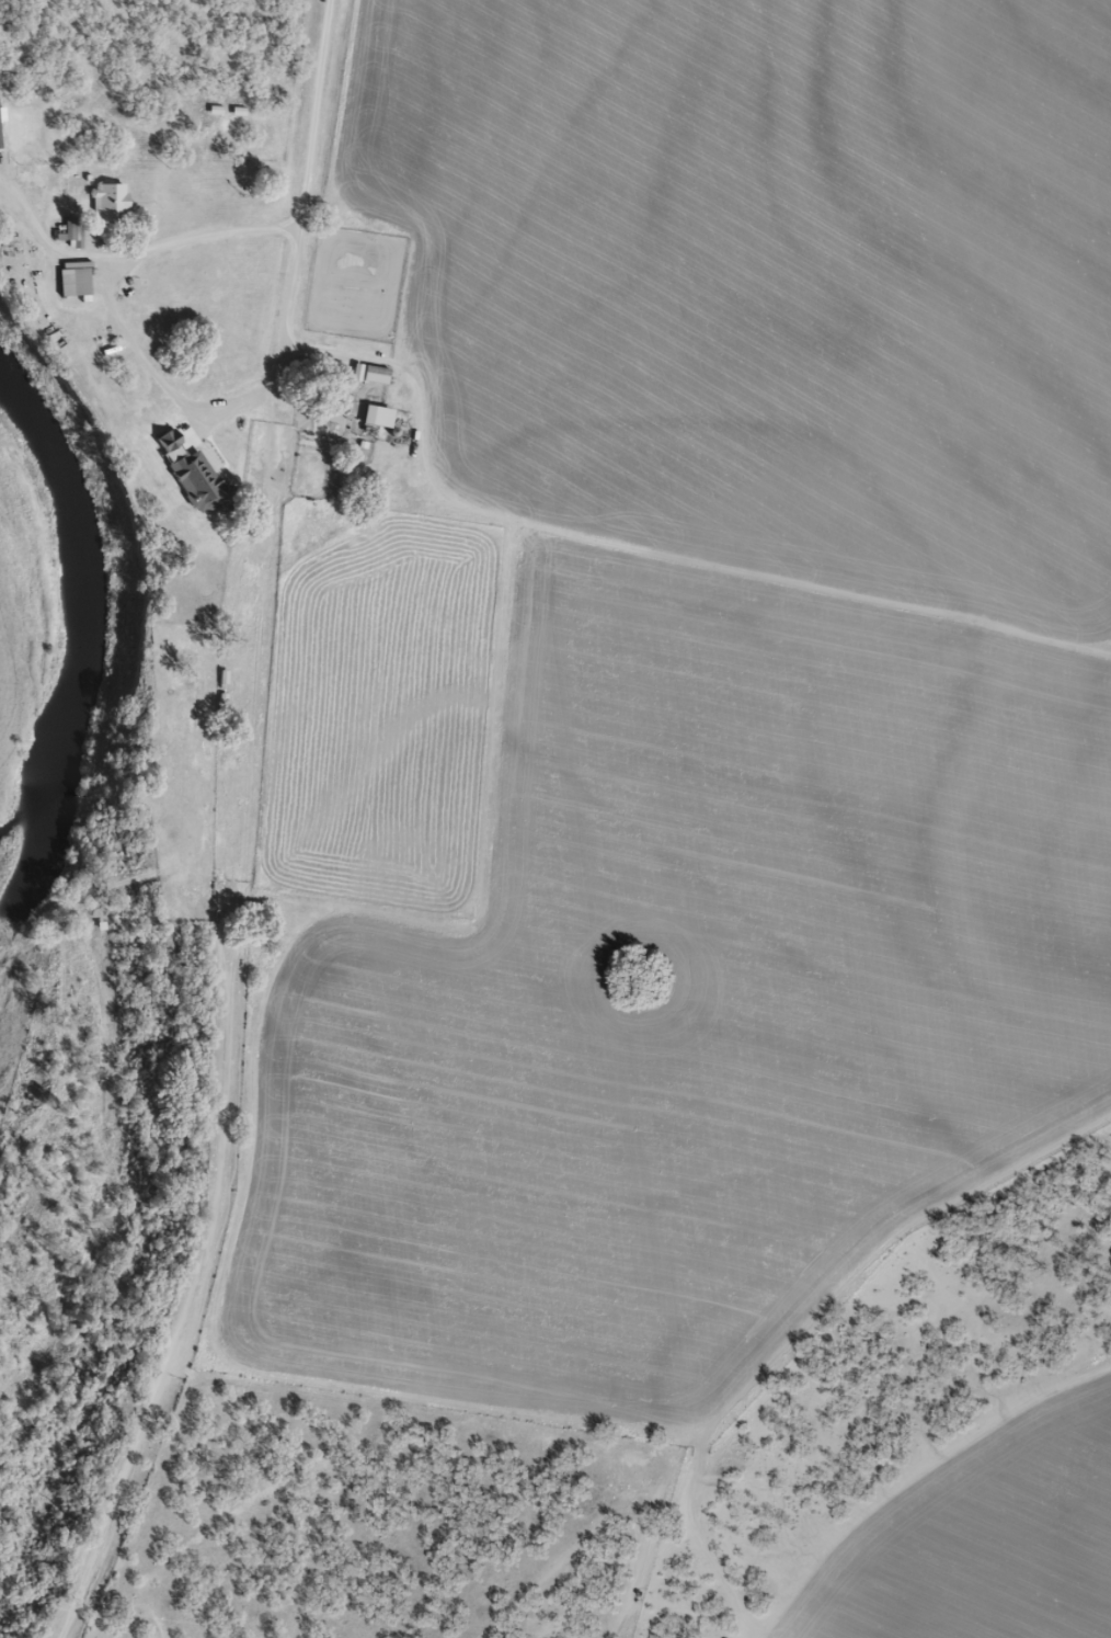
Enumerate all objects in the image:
building: (112, 201)
building: (72, 231)
building: (78, 282)
building: (375, 376)
building: (380, 416)
building: (171, 439)
building: (205, 485)
river: (77, 614)
road: (294, 839)

